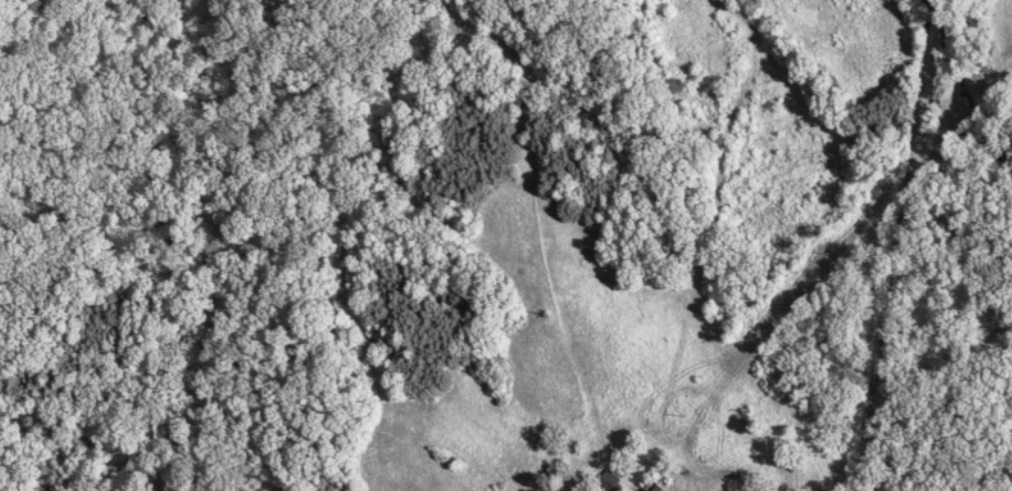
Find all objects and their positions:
road: (910, 246)
building: (608, 482)

